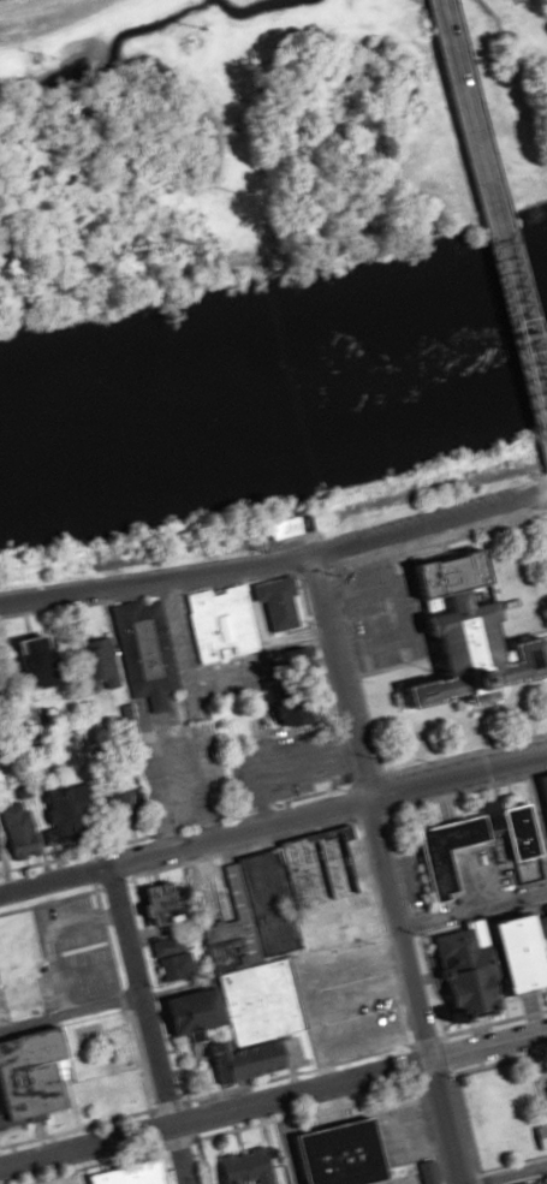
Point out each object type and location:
park: (513, 91)
road: (490, 232)
river: (274, 381)
parking lot: (421, 514)
parking lot: (432, 537)
road: (275, 558)
parking lot: (370, 617)
building: (230, 618)
building: (450, 631)
building: (135, 652)
building: (16, 659)
building: (84, 665)
building: (81, 804)
building: (541, 819)
road: (273, 822)
building: (11, 833)
building: (458, 844)
road: (381, 869)
building: (147, 904)
building: (260, 951)
building: (166, 958)
building: (484, 958)
road: (144, 1024)
building: (30, 1076)
road: (273, 1097)
parking lot: (398, 1136)
building: (539, 1137)
building: (325, 1154)
building: (234, 1168)
building: (423, 1172)
building: (123, 1174)
road: (510, 1174)
building: (535, 1182)

